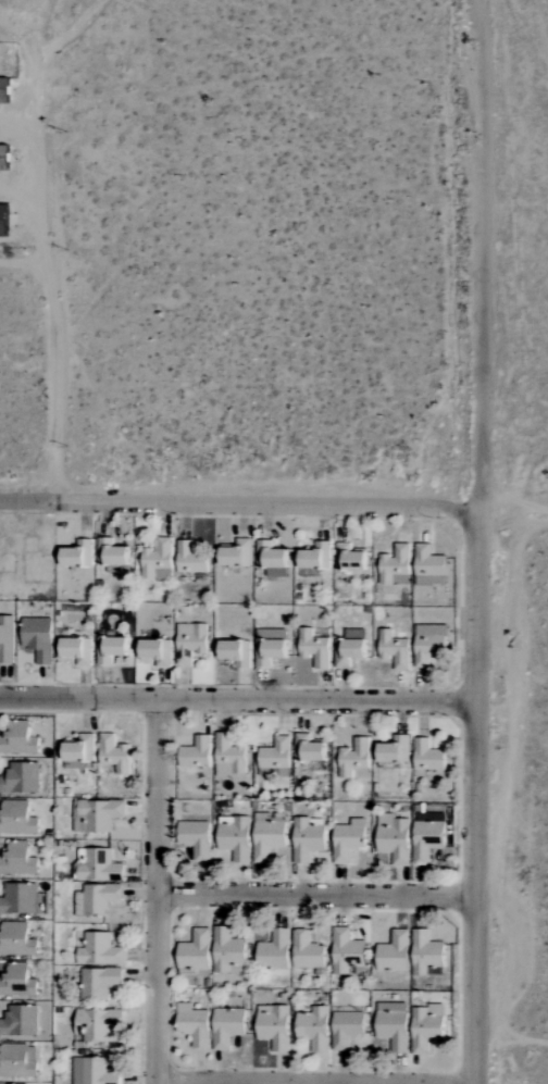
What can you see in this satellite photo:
building: (3, 90)
building: (3, 158)
building: (3, 220)
road: (476, 252)
road: (43, 287)
road: (239, 504)
road: (513, 506)
building: (111, 552)
building: (77, 553)
building: (236, 553)
building: (315, 556)
building: (190, 558)
building: (351, 558)
building: (271, 559)
building: (158, 560)
building: (428, 562)
building: (396, 565)
building: (38, 637)
building: (7, 638)
building: (189, 641)
building: (428, 643)
building: (350, 647)
building: (314, 648)
building: (76, 649)
building: (111, 649)
building: (394, 649)
building: (157, 651)
building: (236, 651)
road: (238, 698)
building: (18, 739)
building: (79, 748)
building: (308, 748)
building: (394, 749)
building: (196, 752)
building: (114, 753)
building: (228, 756)
building: (427, 756)
building: (353, 757)
building: (275, 758)
building: (21, 777)
road: (477, 794)
building: (96, 814)
building: (16, 818)
building: (235, 837)
building: (267, 837)
building: (196, 838)
building: (394, 838)
building: (307, 839)
building: (348, 839)
building: (18, 859)
road: (161, 890)
road: (319, 896)
building: (18, 898)
building: (97, 898)
building: (16, 939)
building: (98, 949)
building: (195, 950)
building: (227, 950)
building: (274, 950)
building: (307, 950)
building: (346, 951)
building: (394, 952)
building: (425, 952)
building: (17, 981)
building: (98, 982)
building: (20, 1021)
building: (97, 1023)
building: (194, 1024)
building: (393, 1025)
building: (227, 1026)
building: (274, 1026)
building: (314, 1027)
building: (346, 1029)
building: (425, 1031)
building: (17, 1060)
building: (92, 1072)
road: (319, 1083)

